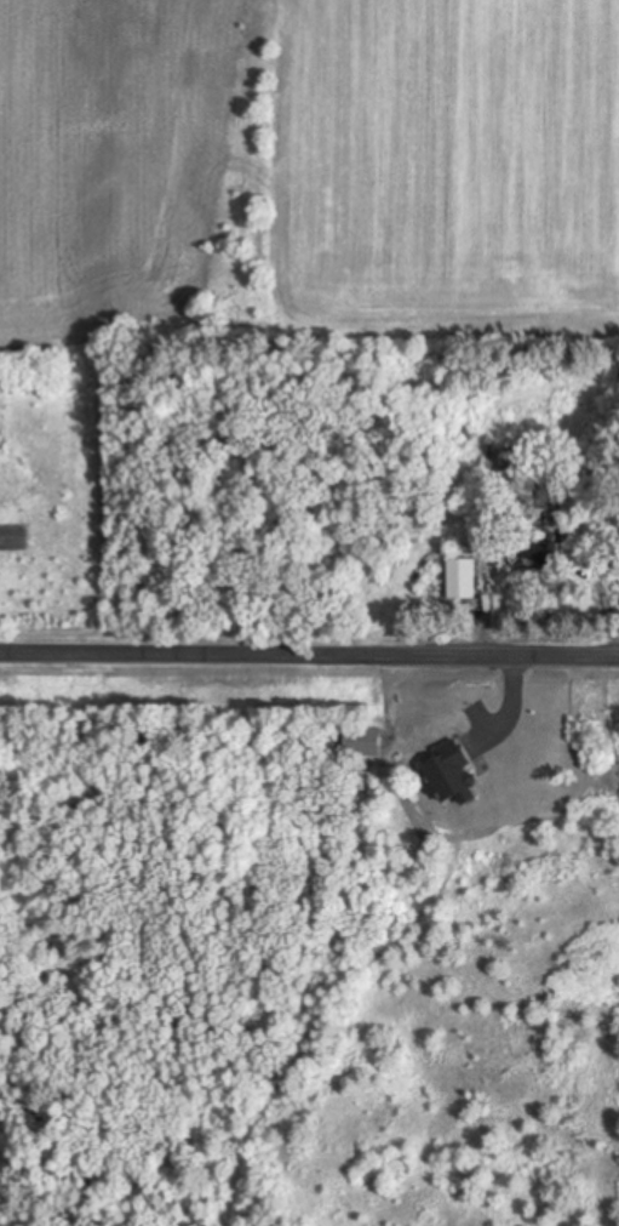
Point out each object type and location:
building: (534, 552)
building: (458, 580)
road: (309, 650)
building: (362, 731)
building: (453, 765)

